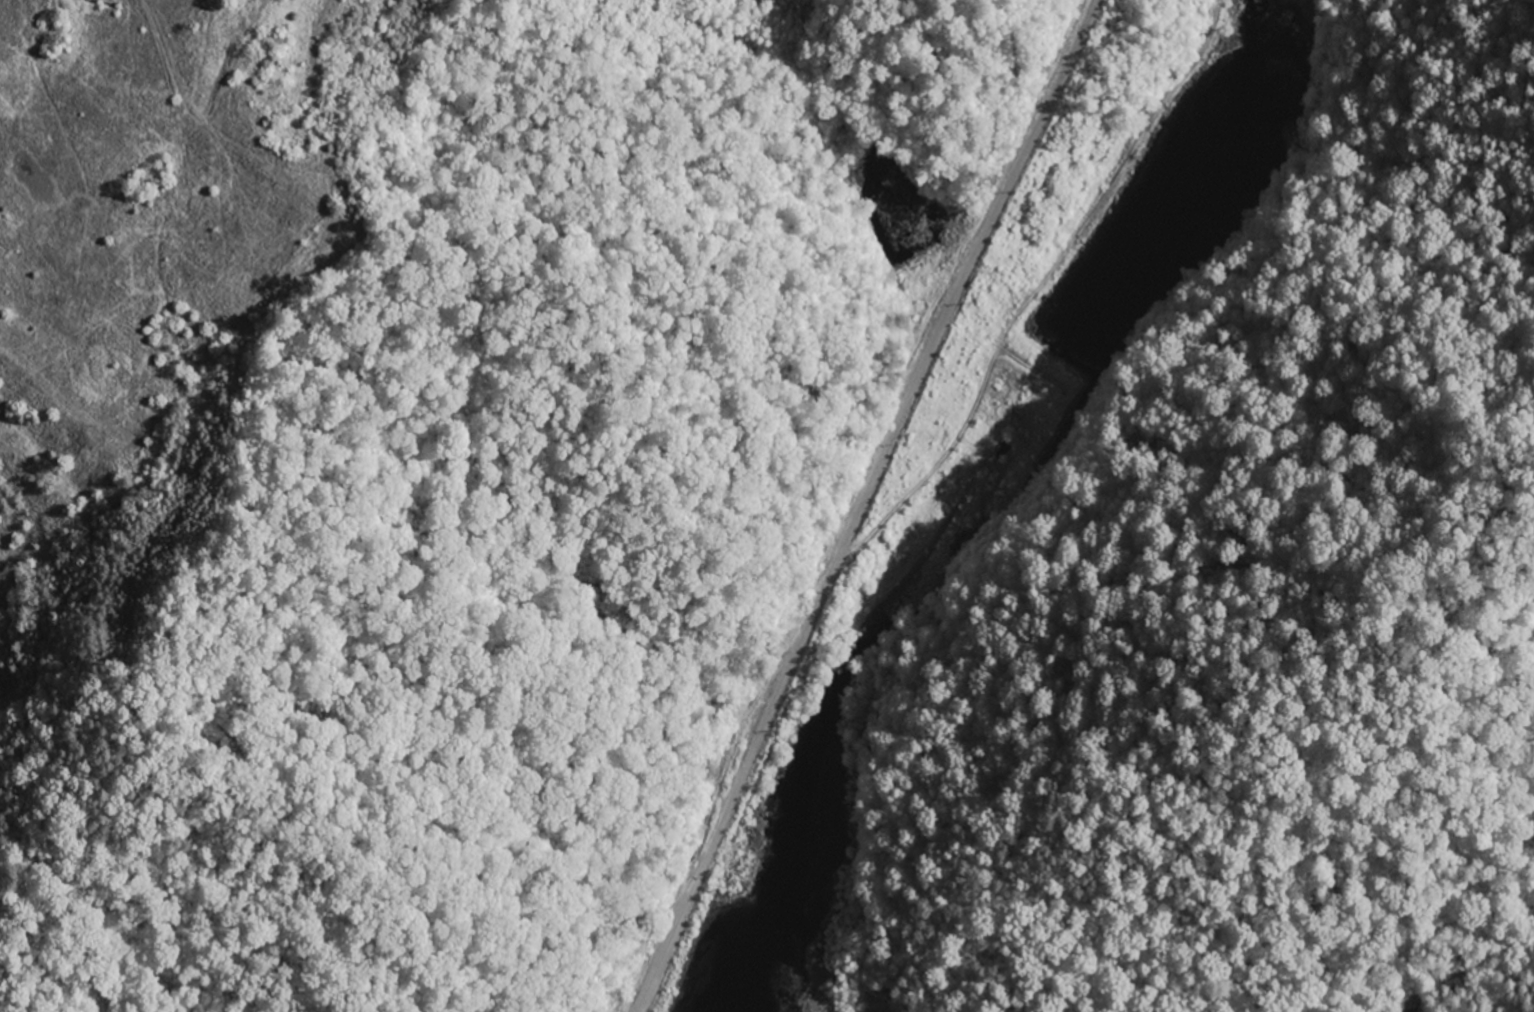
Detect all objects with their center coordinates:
road: (856, 517)

